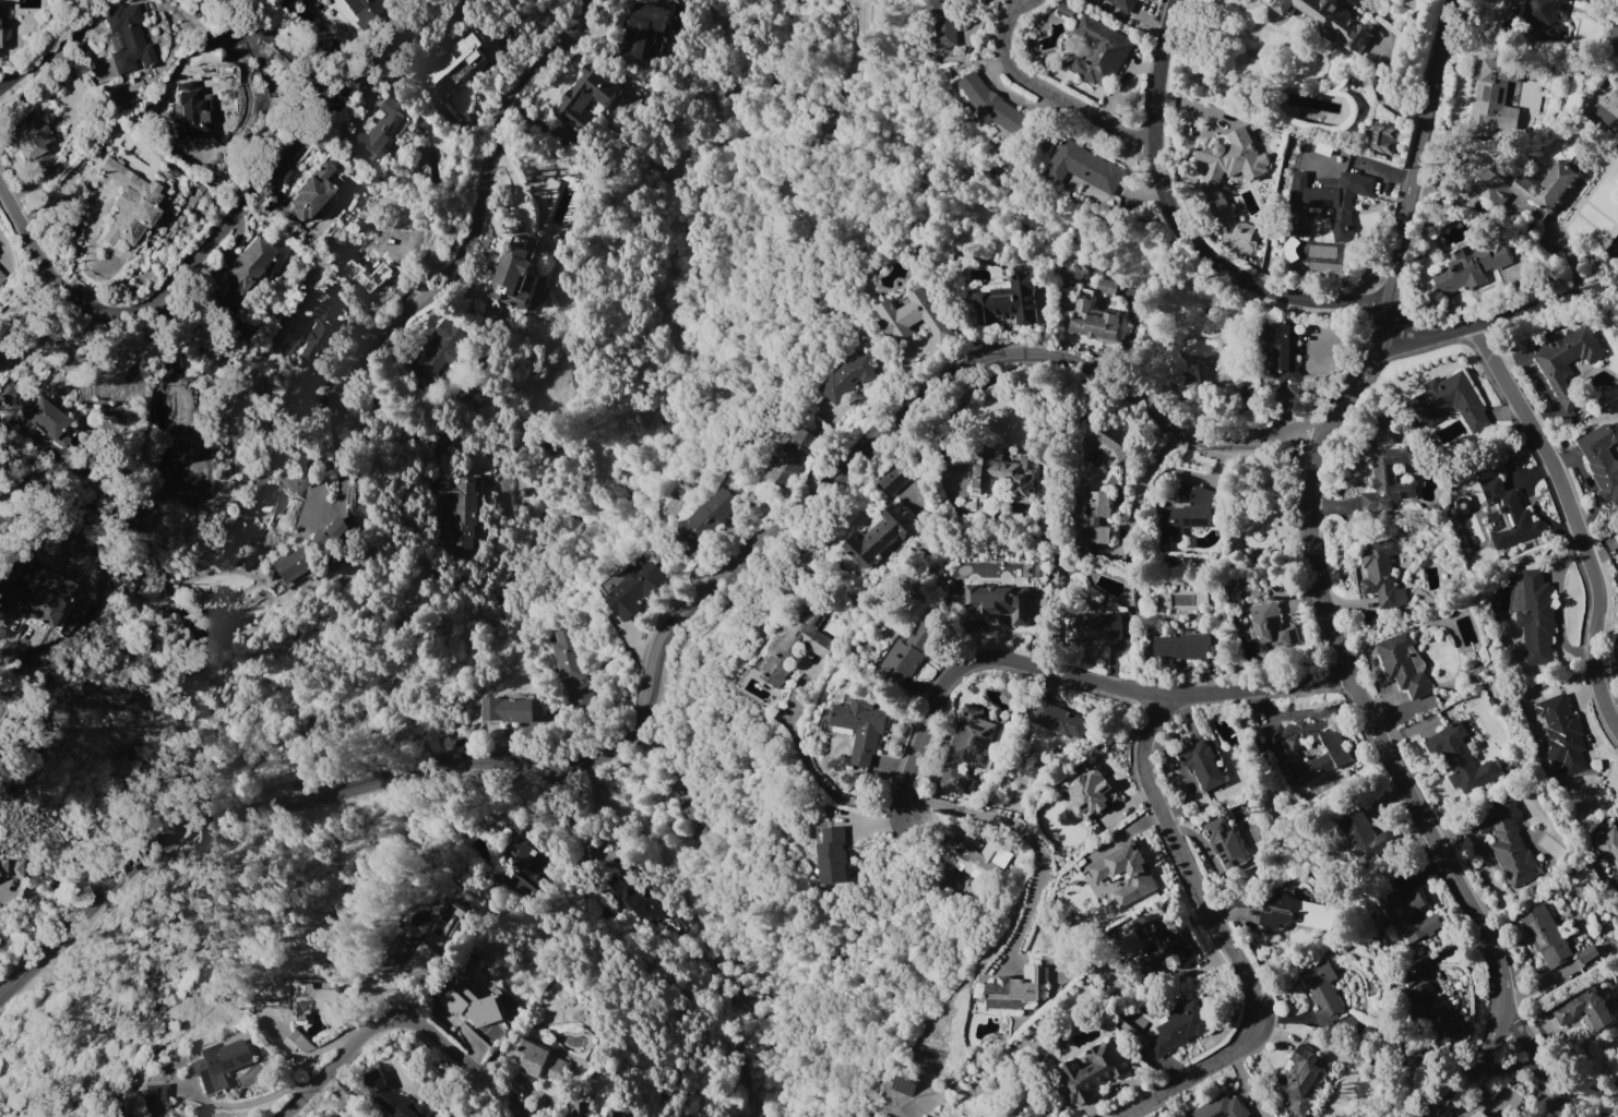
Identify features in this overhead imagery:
building: (1115, 5)
building: (362, 9)
building: (1542, 11)
building: (942, 21)
building: (1329, 21)
building: (642, 28)
building: (128, 37)
building: (1096, 52)
road: (36, 55)
building: (200, 57)
building: (453, 61)
building: (1492, 88)
building: (1598, 88)
road: (1045, 92)
road: (1379, 94)
building: (1613, 97)
building: (584, 98)
building: (990, 104)
building: (191, 111)
building: (377, 131)
building: (1382, 139)
building: (28, 141)
building: (1227, 167)
building: (1080, 168)
building: (1536, 189)
building: (306, 193)
building: (130, 201)
road: (474, 203)
building: (1328, 205)
road: (1404, 206)
building: (561, 211)
road: (1183, 219)
road: (229, 225)
building: (1239, 230)
road: (4, 252)
building: (1468, 268)
building: (245, 271)
building: (514, 272)
building: (3, 274)
building: (1104, 287)
building: (1006, 302)
building: (913, 317)
building: (1094, 322)
road: (1500, 325)
building: (316, 329)
building: (436, 352)
building: (1282, 355)
building: (1566, 362)
building: (846, 379)
building: (1448, 403)
building: (33, 410)
building: (1383, 437)
building: (1103, 445)
building: (788, 457)
building: (190, 461)
building: (1602, 461)
building: (306, 475)
building: (1003, 477)
building: (893, 481)
building: (1385, 481)
road: (1140, 483)
building: (1462, 506)
building: (457, 509)
park: (1264, 509)
building: (1187, 511)
building: (1507, 516)
road: (1570, 516)
building: (704, 517)
building: (1091, 517)
fountain: (1254, 535)
building: (878, 536)
building: (1616, 538)
building: (310, 552)
building: (1381, 574)
building: (635, 588)
building: (38, 597)
building: (997, 603)
building: (1535, 617)
building: (1087, 627)
building: (1268, 627)
road: (659, 633)
road: (11, 642)
building: (793, 647)
building: (1181, 647)
building: (906, 654)
building: (1401, 665)
building: (568, 668)
road: (1062, 676)
building: (507, 708)
building: (1057, 720)
building: (859, 728)
building: (1560, 734)
building: (965, 750)
building: (1332, 755)
building: (1459, 757)
building: (1201, 765)
road: (1399, 777)
road: (828, 785)
building: (1092, 795)
building: (693, 820)
road: (1023, 828)
building: (1361, 837)
building: (1224, 843)
building: (1507, 843)
building: (1608, 845)
building: (832, 858)
building: (963, 864)
building: (12, 867)
building: (523, 867)
building: (1098, 872)
building: (1130, 875)
road: (1, 888)
building: (634, 900)
building: (1290, 916)
building: (1408, 917)
building: (1544, 936)
road: (1227, 938)
building: (1164, 941)
building: (435, 944)
building: (1586, 954)
building: (1015, 989)
building: (1321, 992)
building: (311, 1002)
building: (468, 1006)
building: (1585, 1011)
building: (1435, 1013)
road: (397, 1021)
building: (1178, 1029)
building: (296, 1042)
road: (300, 1057)
building: (979, 1059)
building: (537, 1061)
building: (218, 1065)
road: (1509, 1068)
road: (1549, 1070)
building: (1091, 1072)
building: (1297, 1081)
building: (156, 1092)
building: (390, 1097)
building: (1035, 1107)
building: (1218, 1108)
building: (580, 1109)
building: (615, 1114)
building: (1477, 1114)

